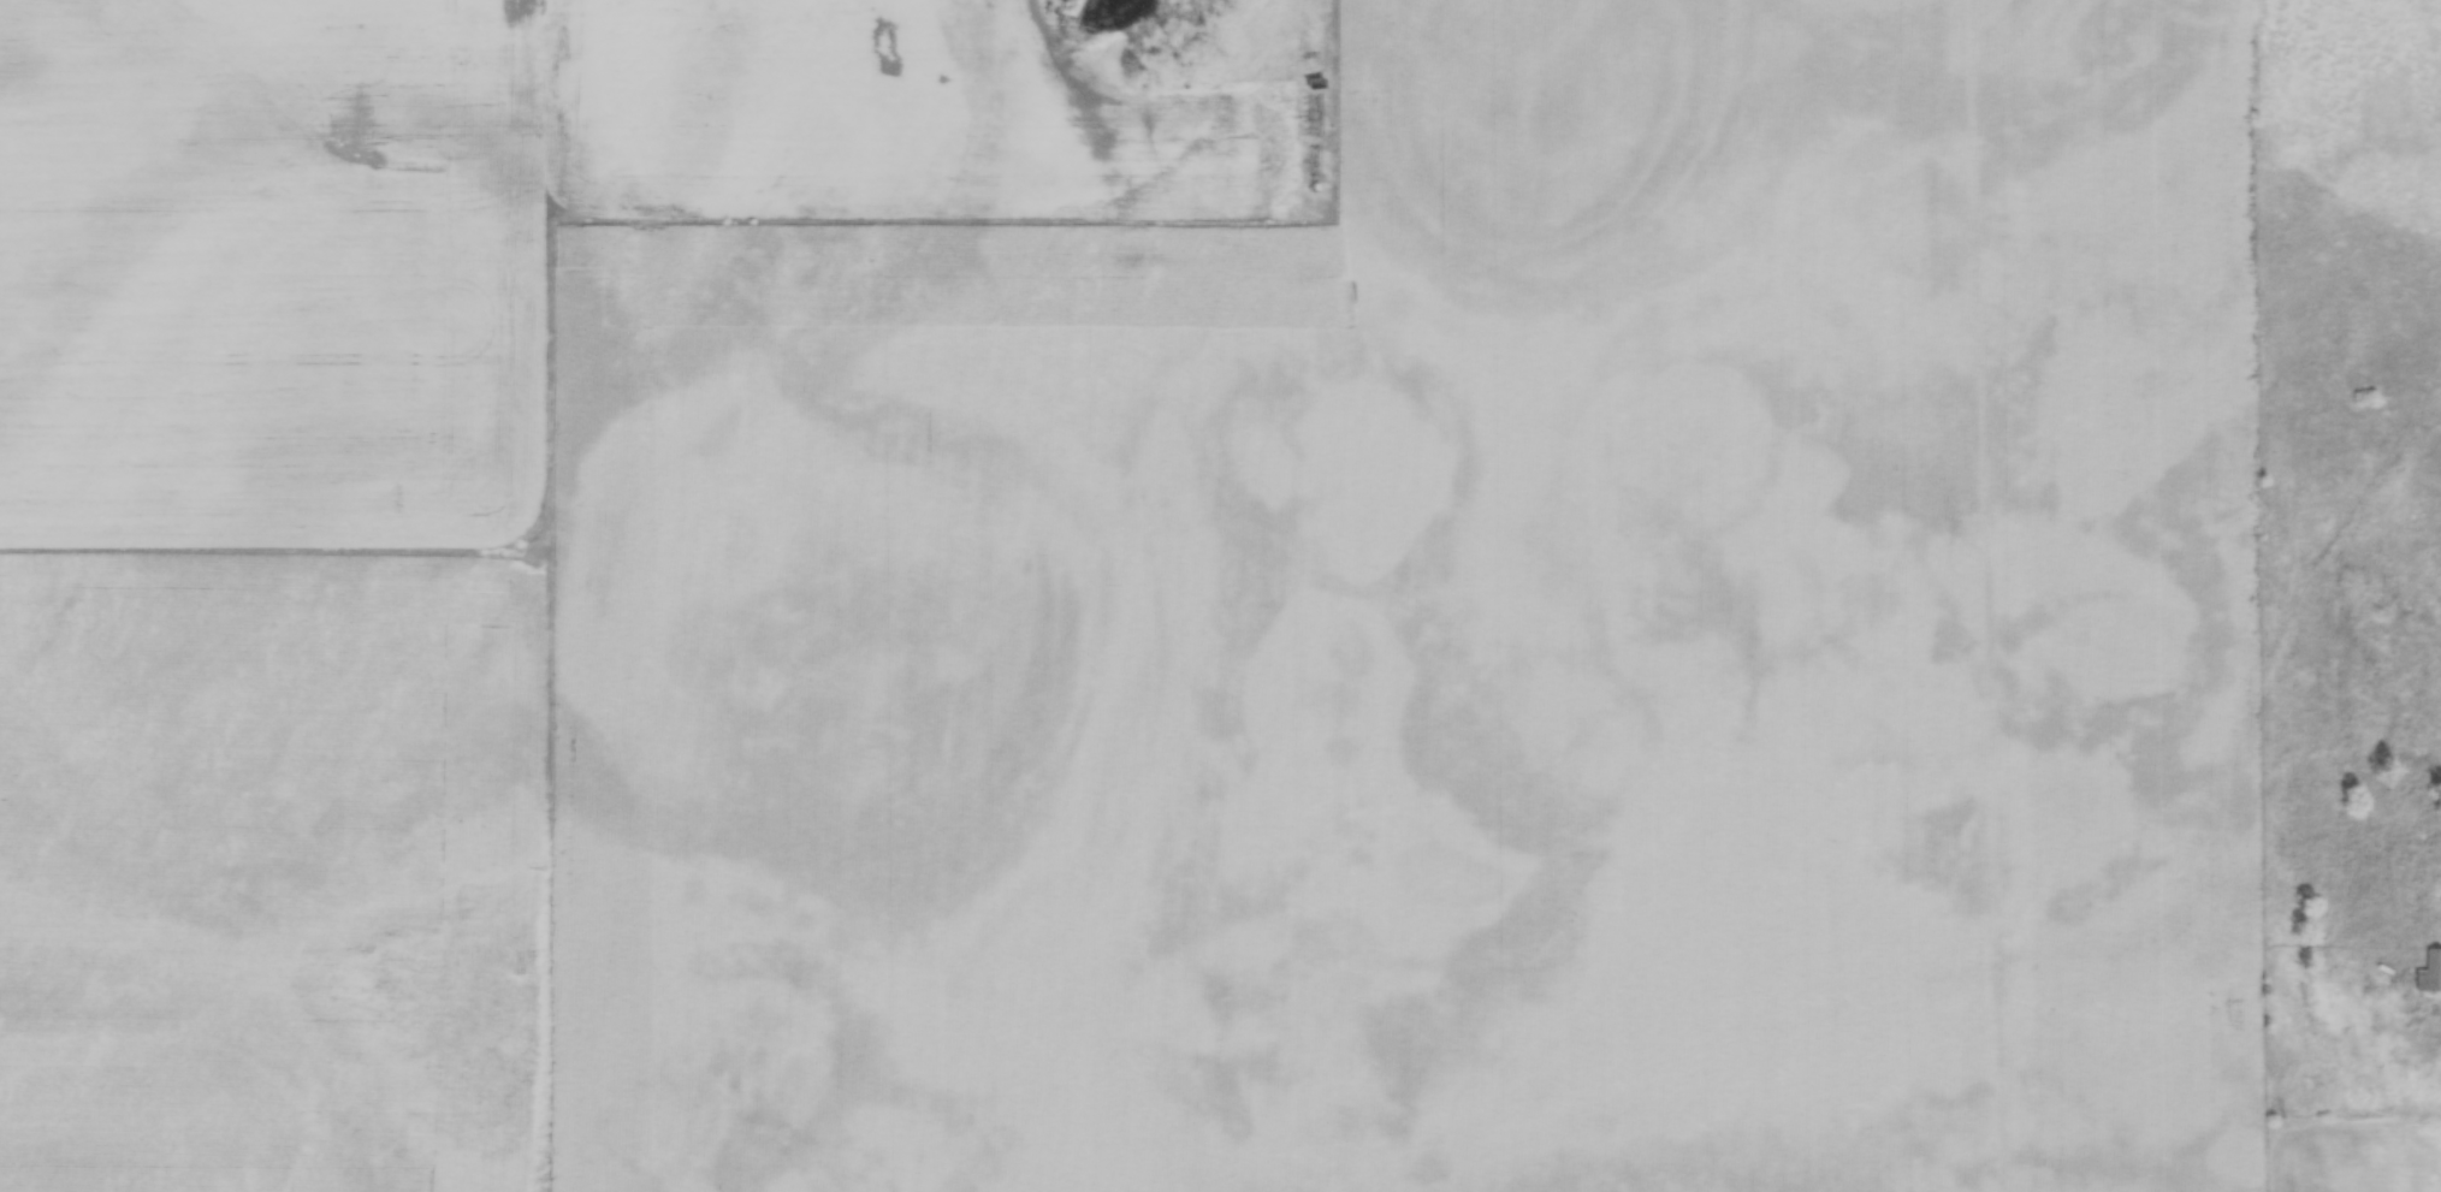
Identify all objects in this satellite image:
building: (2435, 969)

